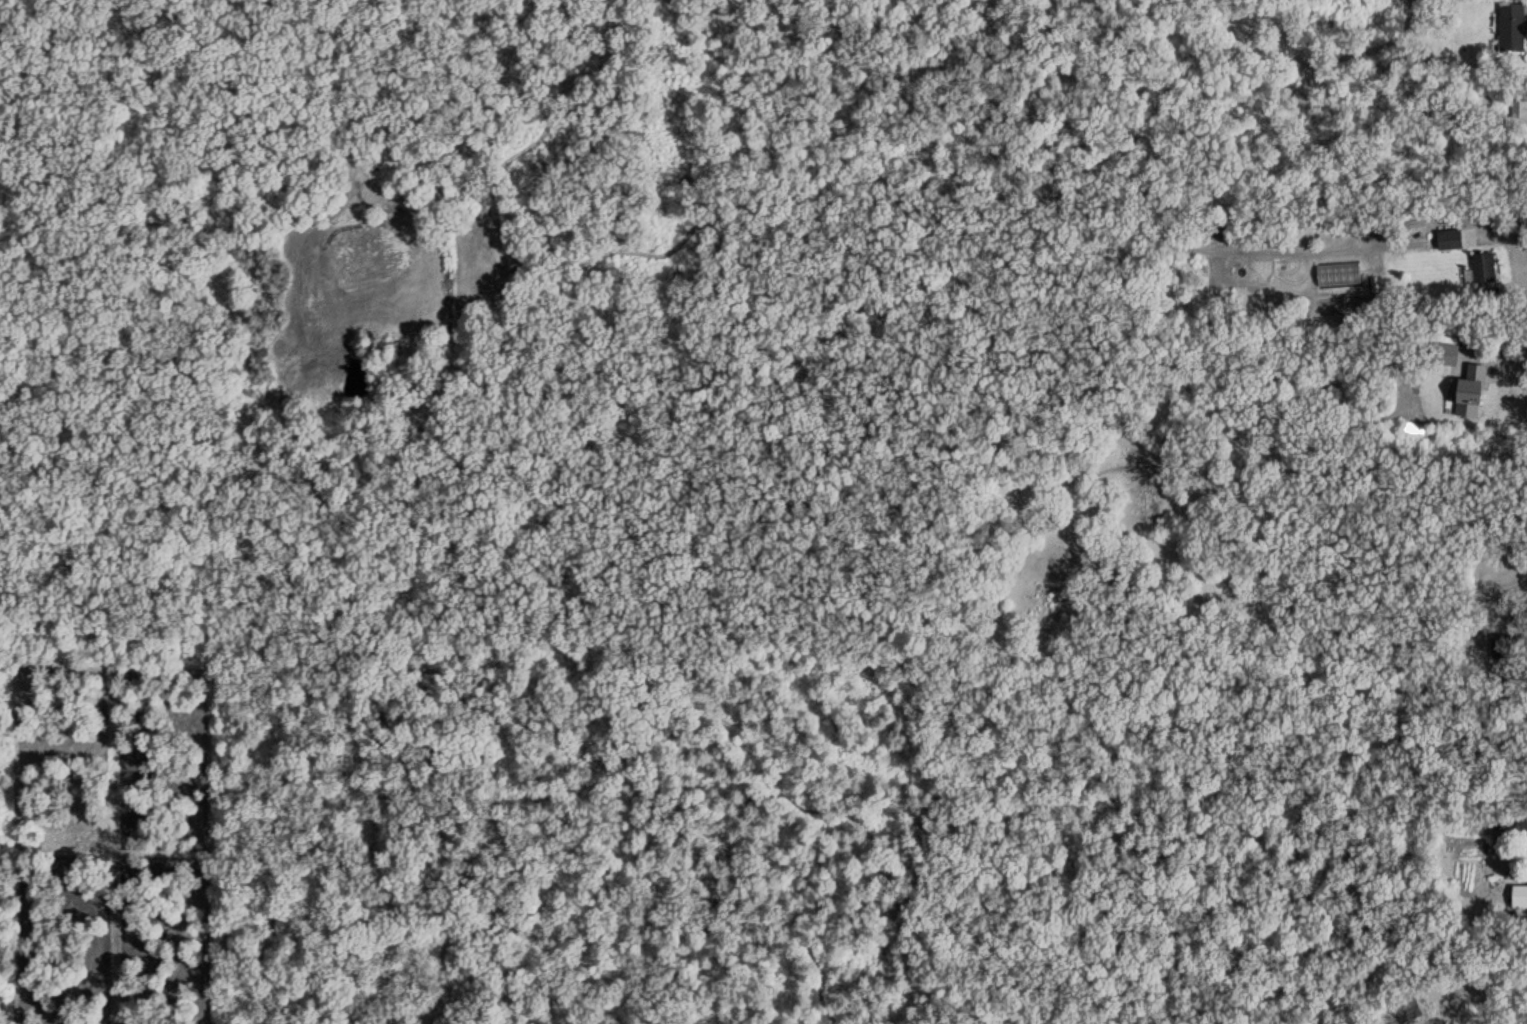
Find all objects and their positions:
building: (1512, 27)
building: (1451, 239)
road: (1514, 252)
building: (1484, 267)
building: (1446, 354)
road: (1517, 370)
building: (1472, 391)
road: (1512, 597)
building: (1510, 644)
building: (1516, 823)
building: (1411, 1014)
building: (1442, 1022)

